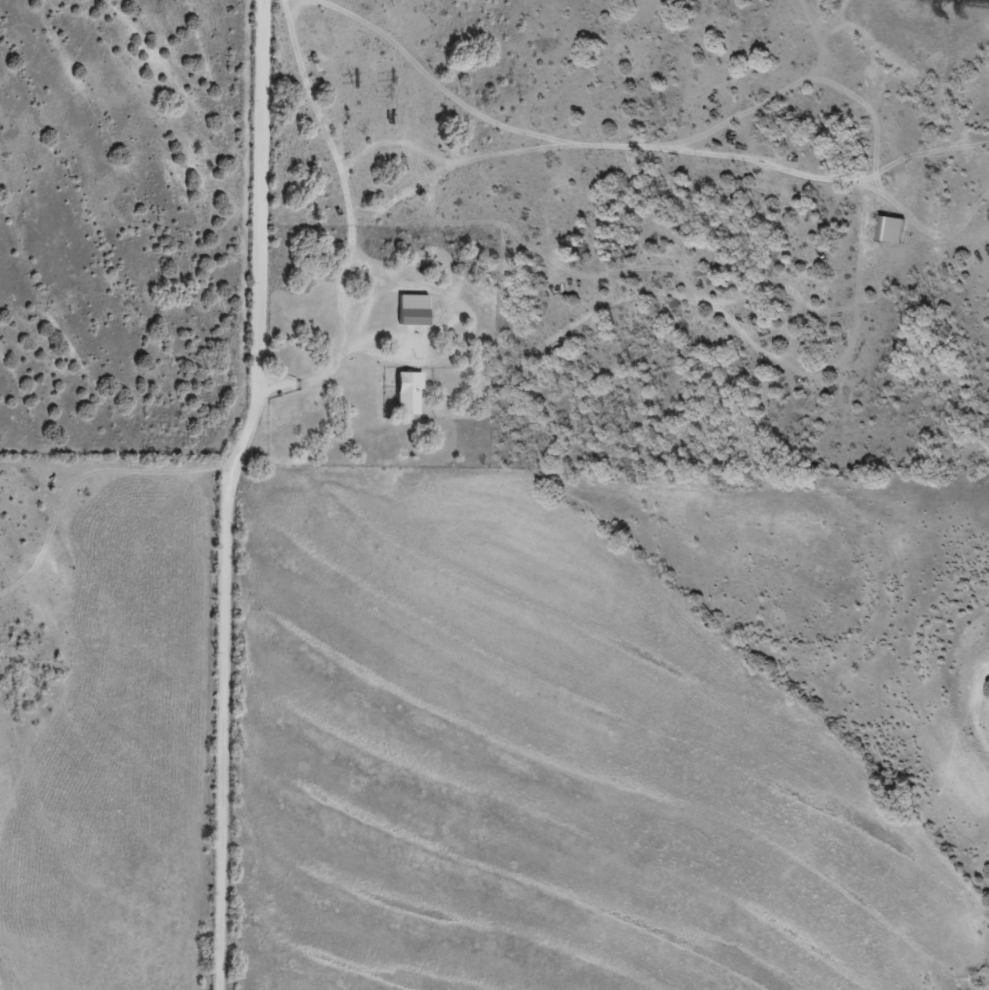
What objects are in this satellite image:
road: (578, 147)
road: (354, 216)
building: (893, 237)
building: (408, 401)
road: (236, 494)

